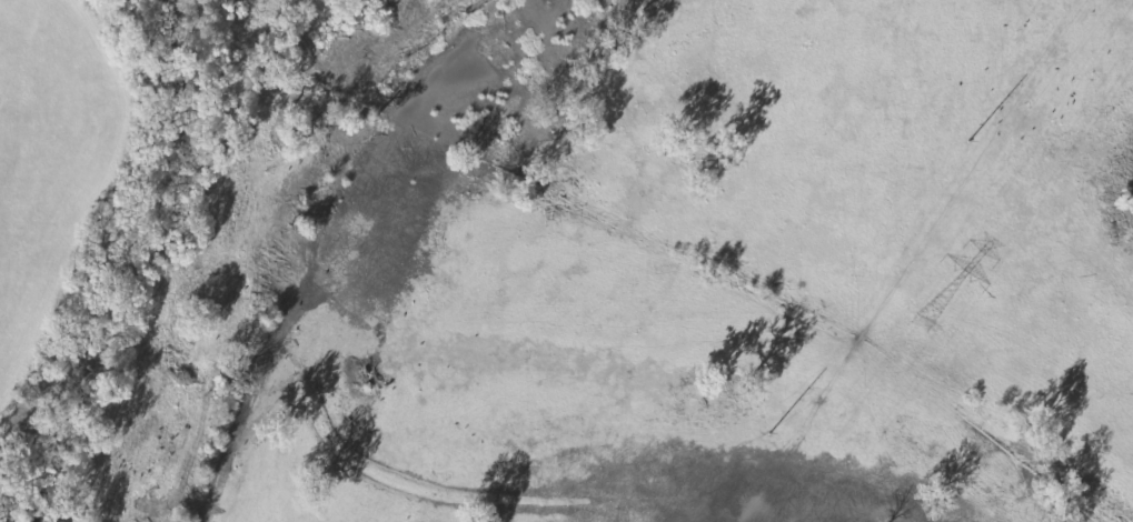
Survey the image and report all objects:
power tower: (972, 142)
power tower: (924, 324)
power tower: (773, 434)

